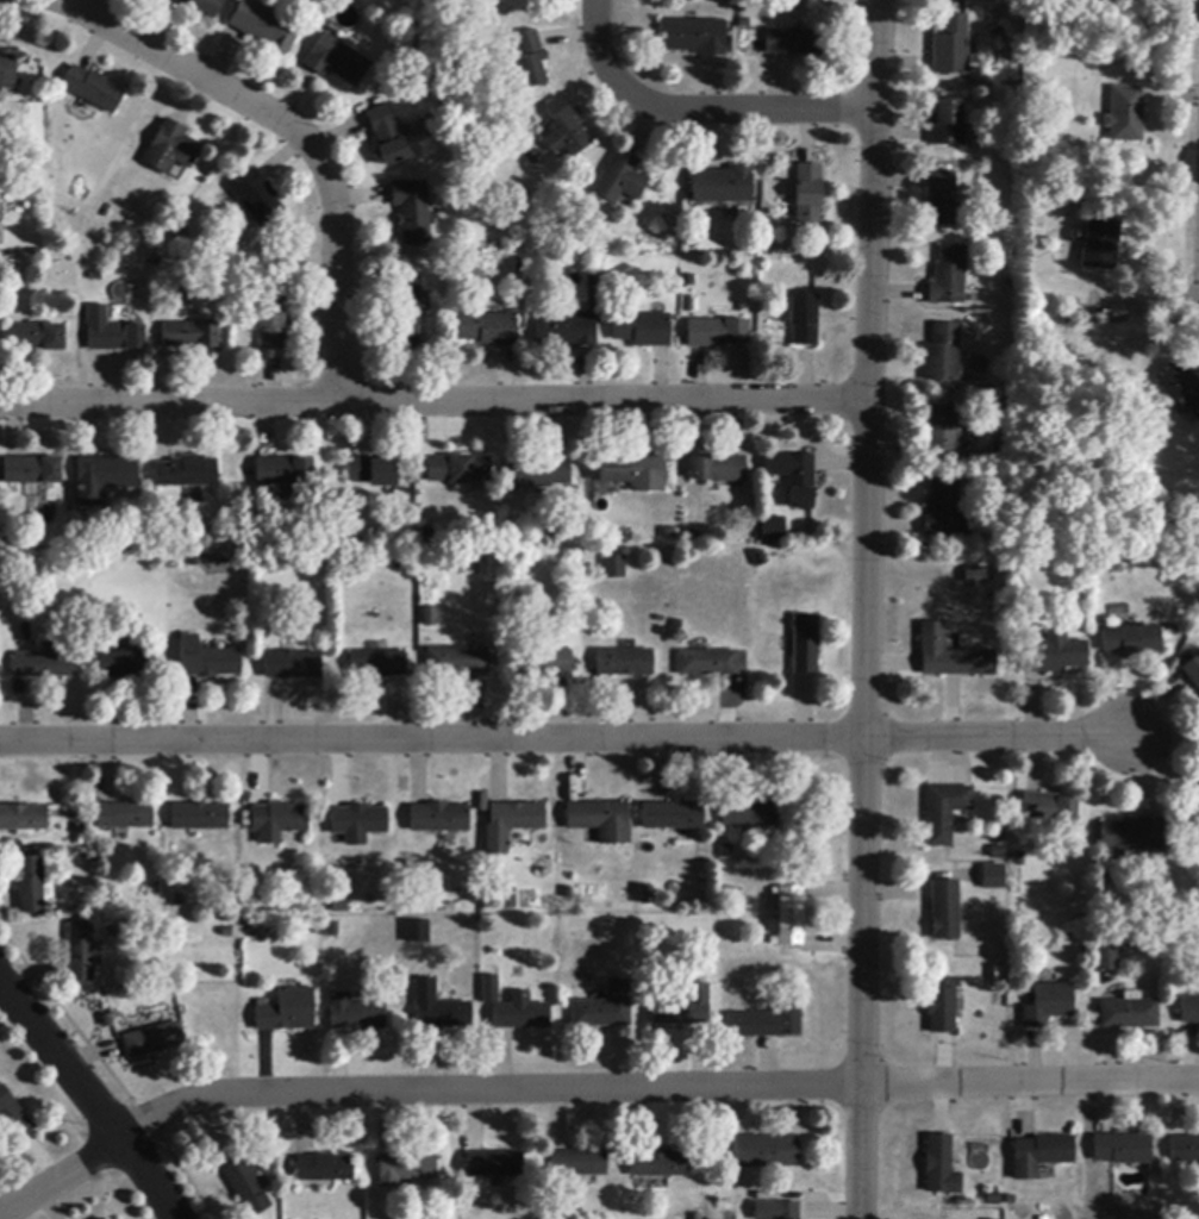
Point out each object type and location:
building: (202, 7)
building: (264, 26)
building: (694, 37)
building: (794, 43)
building: (950, 46)
building: (530, 60)
building: (336, 61)
building: (6, 73)
building: (92, 89)
road: (698, 111)
building: (1124, 115)
building: (947, 124)
building: (564, 130)
building: (387, 136)
road: (298, 137)
building: (171, 149)
building: (619, 180)
building: (722, 186)
building: (807, 194)
building: (256, 198)
building: (941, 199)
building: (412, 211)
building: (691, 242)
building: (1098, 244)
building: (947, 277)
building: (612, 279)
building: (405, 318)
building: (805, 319)
building: (271, 323)
building: (489, 330)
building: (566, 330)
building: (642, 330)
building: (112, 332)
building: (717, 333)
building: (191, 336)
building: (37, 337)
building: (942, 354)
building: (1180, 389)
road: (433, 401)
building: (941, 430)
building: (1000, 454)
building: (718, 469)
building: (460, 470)
building: (32, 471)
building: (283, 471)
building: (186, 473)
building: (374, 473)
building: (633, 473)
building: (538, 474)
building: (104, 477)
building: (793, 477)
building: (605, 486)
building: (944, 511)
building: (774, 530)
building: (429, 537)
building: (94, 558)
building: (760, 560)
building: (1105, 560)
building: (614, 568)
building: (975, 576)
road: (864, 608)
building: (430, 618)
building: (26, 632)
building: (1130, 642)
building: (805, 645)
building: (1051, 655)
building: (949, 656)
building: (207, 661)
building: (457, 662)
building: (125, 663)
building: (292, 663)
building: (541, 663)
building: (625, 663)
building: (708, 663)
building: (377, 664)
building: (44, 665)
building: (1192, 673)
road: (993, 738)
road: (431, 739)
building: (1194, 804)
building: (1048, 809)
building: (944, 812)
building: (749, 814)
building: (673, 815)
building: (124, 817)
building: (199, 817)
building: (517, 817)
building: (437, 818)
building: (23, 819)
building: (279, 819)
building: (600, 820)
building: (357, 823)
building: (1131, 834)
building: (997, 854)
building: (989, 875)
building: (32, 886)
building: (647, 895)
building: (507, 899)
building: (944, 909)
building: (789, 917)
building: (332, 930)
building: (418, 932)
building: (81, 952)
building: (1104, 957)
building: (491, 990)
building: (1047, 1005)
building: (941, 1006)
building: (438, 1008)
building: (605, 1008)
building: (682, 1008)
building: (287, 1011)
building: (1189, 1011)
building: (520, 1013)
building: (1129, 1013)
building: (355, 1014)
building: (764, 1023)
building: (154, 1040)
road: (1030, 1081)
road: (413, 1089)
road: (90, 1098)
building: (12, 1118)
building: (1122, 1149)
building: (1185, 1150)
building: (766, 1152)
building: (1041, 1156)
building: (576, 1163)
building: (658, 1164)
building: (493, 1165)
building: (939, 1167)
building: (323, 1169)
building: (405, 1169)
building: (246, 1187)
building: (775, 1211)
building: (695, 1217)
building: (102, 1218)

